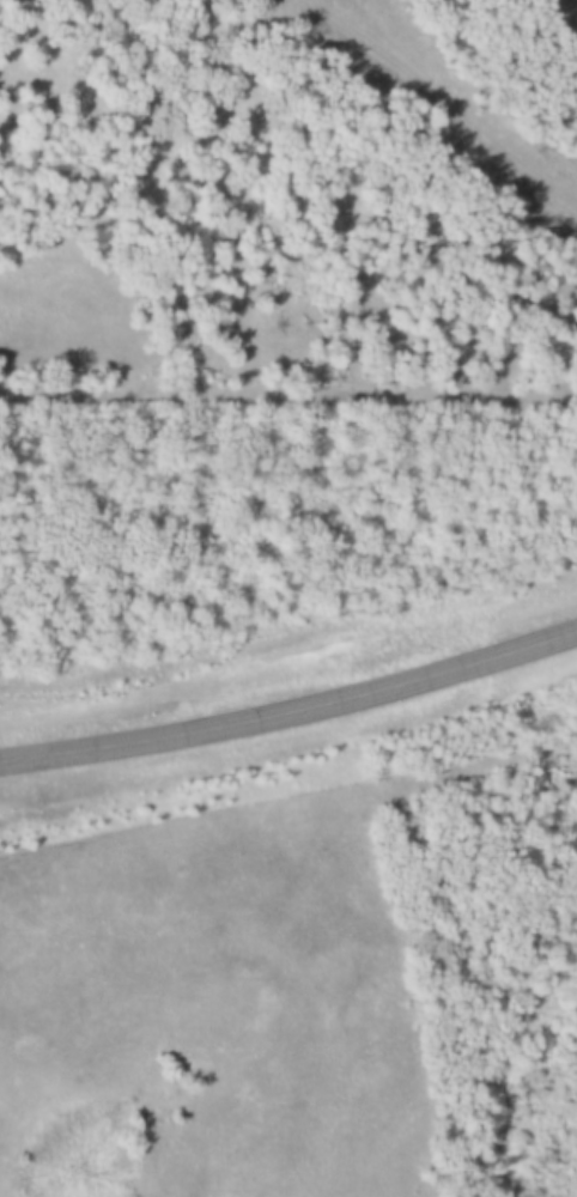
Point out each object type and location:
road: (441, 104)
road: (291, 711)

